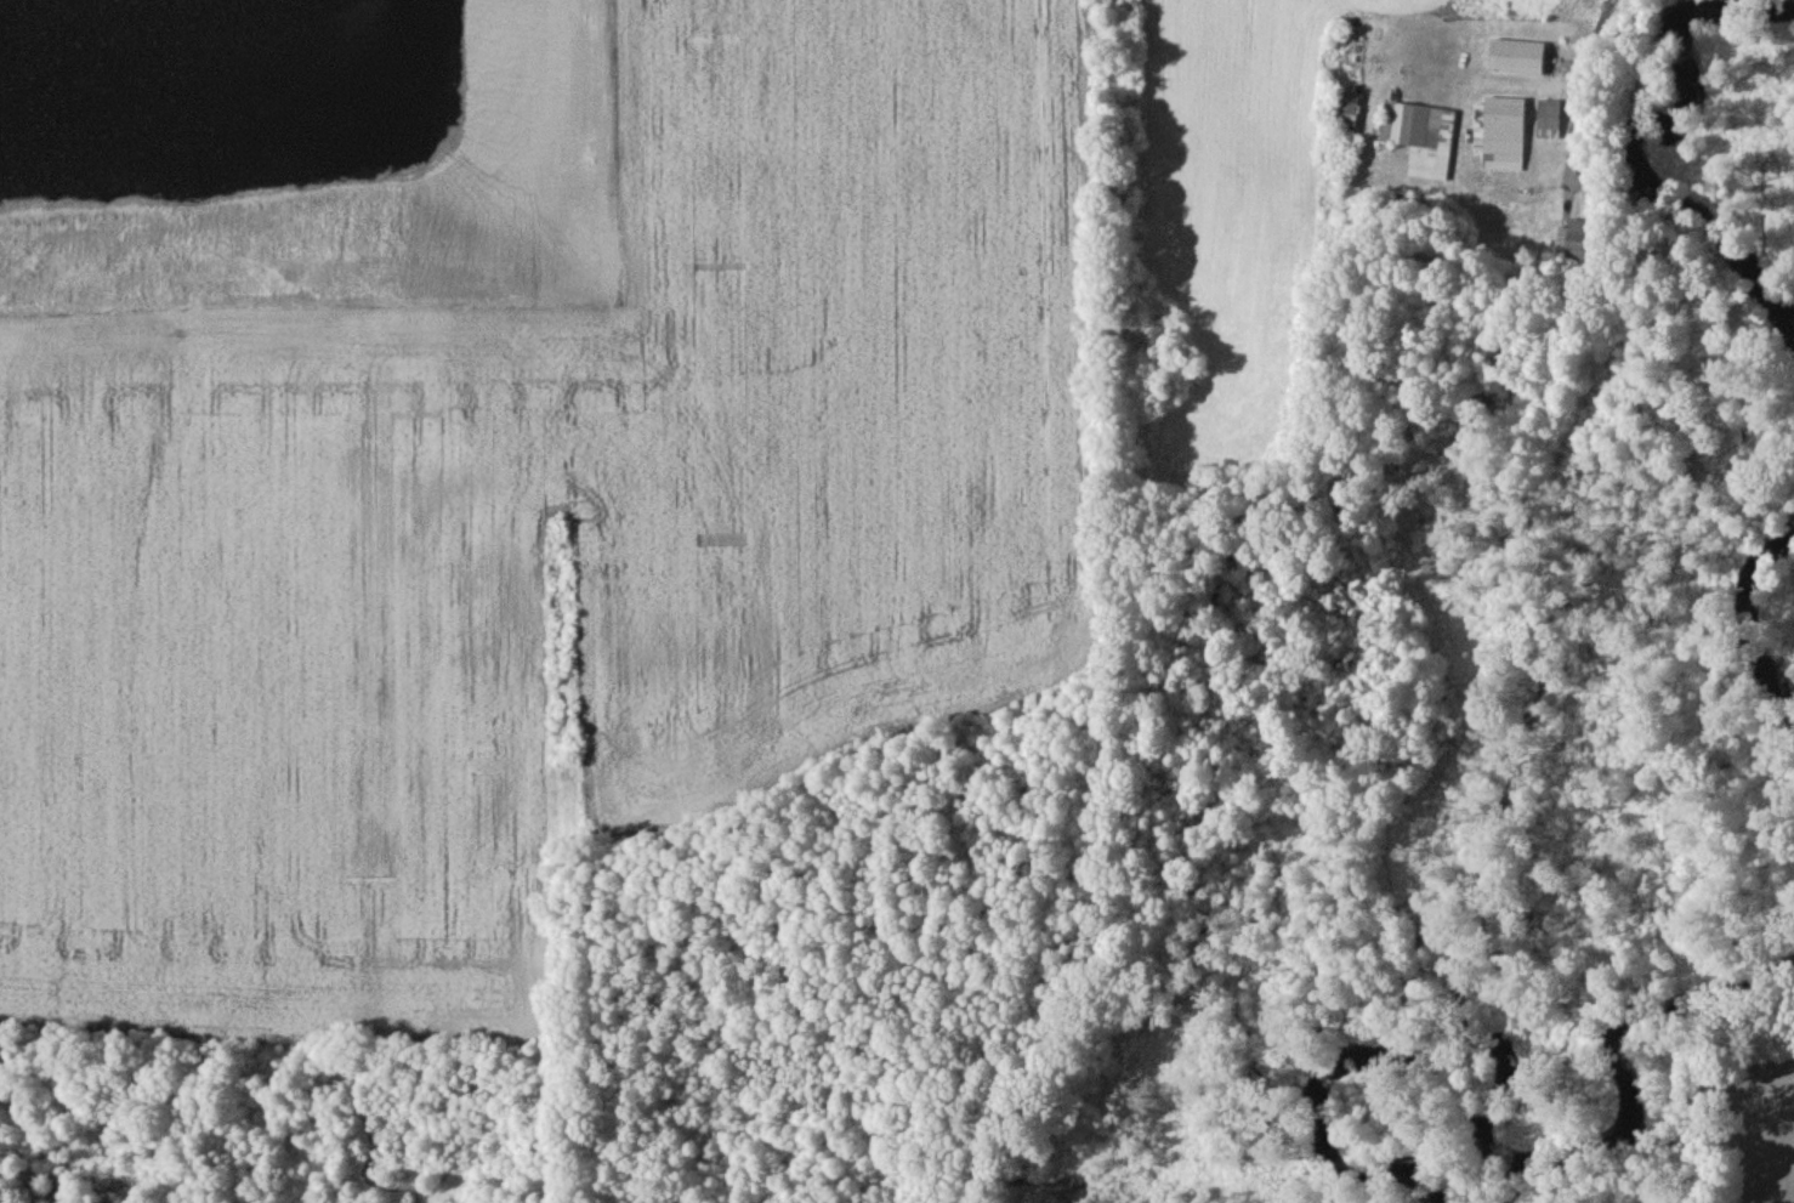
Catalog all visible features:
building: (1518, 59)
road: (1586, 72)
building: (1347, 113)
building: (1550, 123)
building: (1505, 136)
building: (1421, 140)
building: (1580, 243)

